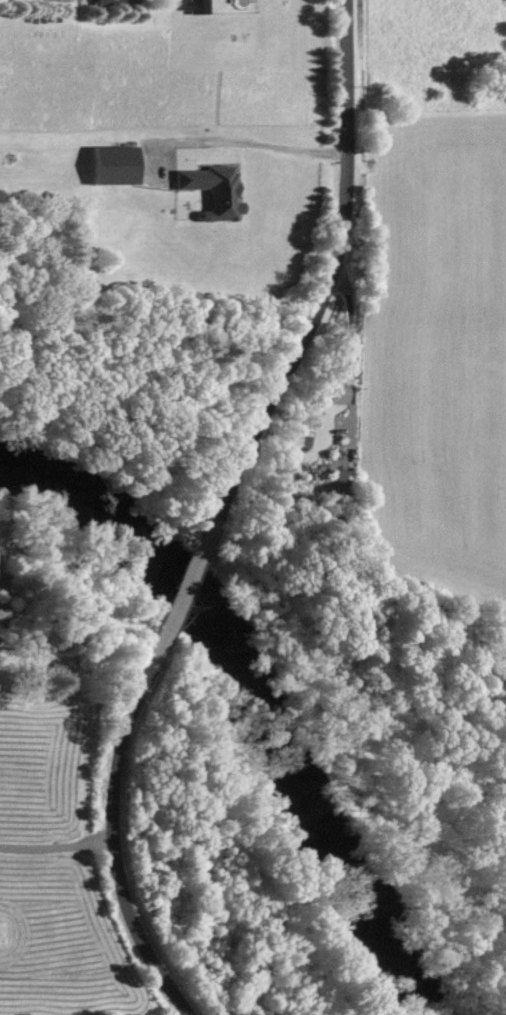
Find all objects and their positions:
building: (112, 3)
road: (246, 139)
building: (111, 166)
building: (210, 192)
building: (335, 387)
building: (340, 482)
road: (220, 514)
river: (274, 690)
road: (56, 848)

